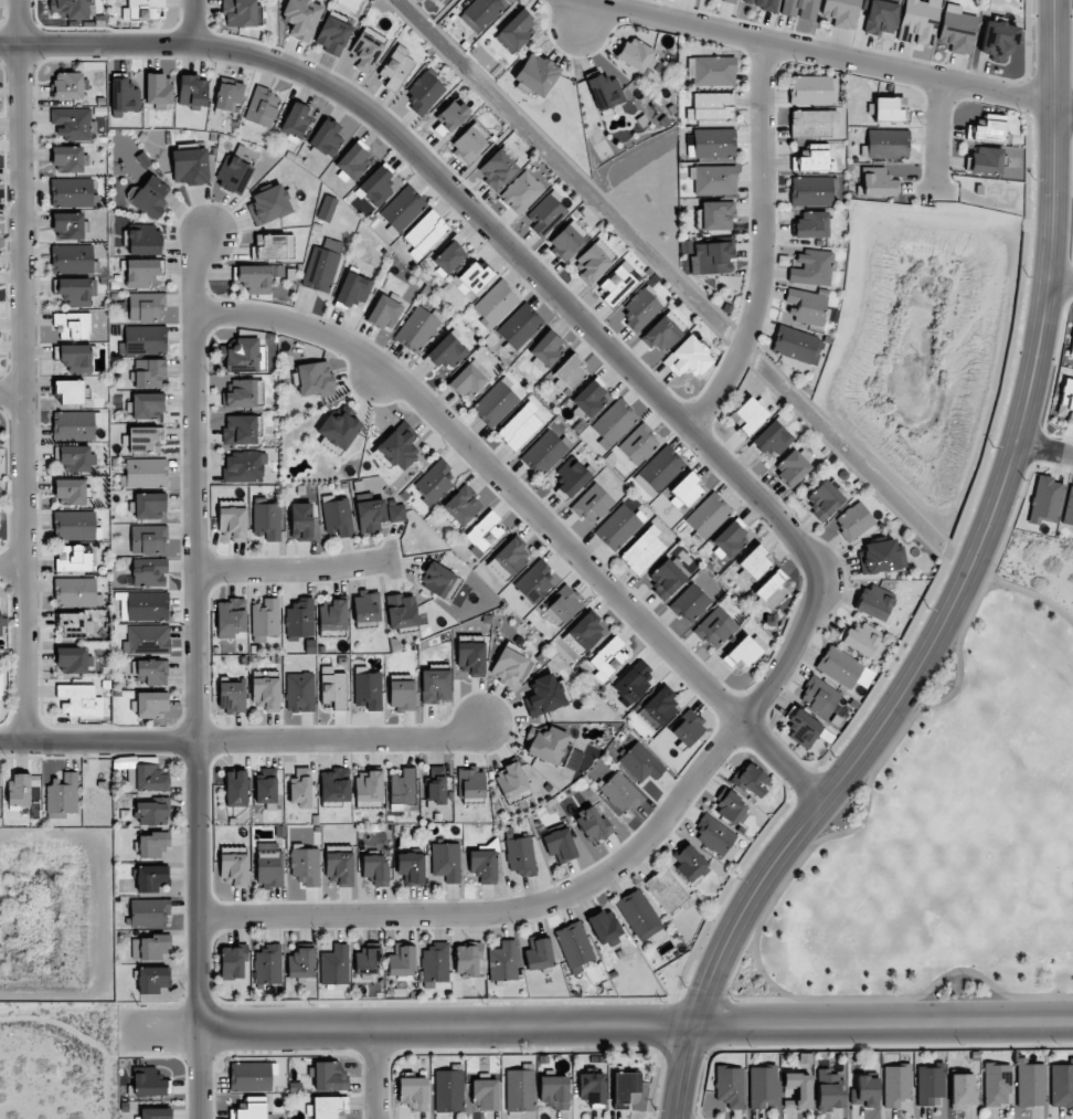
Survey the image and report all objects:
building: (439, 0)
building: (732, 0)
building: (72, 9)
building: (141, 9)
building: (800, 9)
building: (841, 12)
building: (238, 13)
building: (481, 13)
building: (301, 18)
building: (880, 18)
road: (192, 22)
building: (918, 22)
building: (957, 29)
building: (514, 31)
building: (332, 35)
building: (998, 41)
building: (366, 49)
road: (822, 53)
building: (636, 55)
building: (396, 67)
building: (712, 71)
building: (535, 74)
building: (68, 85)
building: (812, 89)
building: (158, 91)
building: (604, 91)
building: (192, 92)
building: (424, 93)
building: (227, 95)
building: (124, 96)
building: (262, 107)
building: (711, 107)
building: (888, 110)
building: (449, 116)
building: (295, 120)
building: (811, 123)
building: (71, 124)
building: (987, 129)
building: (326, 138)
road: (934, 138)
building: (713, 142)
building: (886, 142)
building: (469, 144)
building: (68, 158)
building: (812, 159)
building: (986, 160)
building: (352, 162)
building: (189, 167)
building: (497, 169)
building: (234, 176)
building: (878, 182)
building: (376, 184)
building: (811, 190)
building: (71, 192)
building: (521, 192)
building: (150, 198)
building: (268, 204)
building: (327, 208)
building: (403, 209)
building: (545, 214)
building: (718, 215)
building: (68, 225)
building: (811, 225)
building: (425, 233)
building: (144, 240)
building: (567, 240)
road: (761, 242)
building: (272, 247)
building: (711, 257)
building: (71, 258)
building: (593, 261)
building: (322, 266)
building: (811, 268)
building: (142, 272)
building: (258, 277)
building: (472, 278)
building: (617, 284)
road: (1062, 284)
building: (352, 289)
building: (75, 291)
building: (495, 304)
building: (146, 306)
building: (807, 306)
building: (640, 309)
building: (787, 312)
building: (384, 313)
building: (72, 326)
building: (417, 328)
building: (663, 332)
building: (145, 339)
building: (796, 345)
building: (548, 349)
building: (1071, 349)
building: (446, 352)
building: (243, 356)
building: (687, 357)
building: (75, 358)
road: (19, 370)
building: (148, 372)
building: (567, 372)
building: (315, 378)
building: (469, 380)
building: (70, 391)
road: (10, 392)
building: (242, 393)
building: (587, 400)
building: (1066, 400)
building: (495, 403)
building: (146, 405)
building: (750, 416)
building: (613, 422)
building: (74, 424)
building: (519, 426)
building: (240, 430)
building: (338, 430)
building: (144, 437)
building: (772, 440)
building: (638, 444)
building: (397, 446)
road: (1045, 447)
building: (543, 453)
building: (75, 458)
building: (244, 467)
building: (792, 467)
building: (658, 471)
building: (145, 473)
building: (570, 479)
building: (434, 483)
road: (740, 483)
building: (684, 490)
building: (70, 492)
building: (822, 499)
building: (1044, 500)
building: (593, 504)
building: (461, 505)
building: (149, 506)
building: (1069, 508)
road: (531, 511)
building: (395, 513)
building: (371, 516)
building: (707, 516)
building: (337, 518)
building: (266, 519)
building: (300, 521)
building: (853, 521)
building: (232, 524)
building: (73, 525)
building: (484, 532)
building: (148, 539)
building: (729, 541)
building: (642, 550)
building: (510, 557)
building: (878, 557)
building: (73, 559)
road: (10, 563)
building: (752, 563)
road: (291, 570)
building: (148, 572)
building: (665, 578)
building: (437, 579)
building: (534, 582)
building: (771, 590)
building: (74, 591)
road: (959, 592)
road: (1032, 595)
building: (875, 602)
building: (689, 603)
building: (144, 605)
building: (366, 606)
building: (562, 606)
building: (401, 611)
building: (332, 615)
building: (230, 617)
building: (265, 617)
building: (299, 619)
building: (0, 624)
building: (72, 625)
building: (713, 629)
building: (585, 631)
building: (146, 640)
building: (863, 640)
building: (744, 651)
building: (72, 659)
building: (469, 659)
building: (607, 659)
building: (508, 665)
building: (843, 668)
building: (151, 671)
road: (195, 673)
building: (633, 682)
building: (435, 686)
building: (0, 687)
building: (332, 687)
building: (368, 688)
building: (299, 692)
building: (402, 692)
building: (265, 693)
building: (231, 696)
building: (543, 696)
building: (819, 696)
building: (79, 700)
building: (150, 704)
building: (659, 706)
building: (803, 728)
building: (687, 729)
road: (245, 741)
building: (546, 745)
building: (640, 763)
building: (150, 778)
building: (510, 780)
building: (751, 780)
building: (470, 782)
building: (266, 785)
building: (334, 785)
building: (369, 787)
building: (435, 787)
building: (235, 788)
building: (300, 788)
building: (402, 789)
building: (18, 790)
building: (620, 793)
building: (730, 809)
building: (152, 812)
building: (592, 825)
park: (935, 834)
building: (714, 835)
building: (152, 845)
building: (559, 845)
building: (520, 855)
building: (446, 862)
building: (689, 864)
building: (305, 865)
building: (482, 866)
building: (411, 867)
building: (233, 868)
building: (267, 868)
building: (339, 868)
building: (375, 868)
road: (790, 874)
building: (150, 877)
building: (667, 890)
building: (149, 912)
building: (638, 915)
building: (605, 928)
building: (151, 946)
building: (574, 946)
building: (538, 953)
building: (469, 960)
building: (366, 961)
building: (401, 961)
building: (502, 961)
building: (232, 962)
building: (435, 962)
building: (267, 963)
building: (300, 963)
building: (334, 965)
building: (151, 979)
road: (716, 1000)
road: (764, 1000)
road: (596, 1025)
road: (378, 1074)
building: (249, 1076)
building: (329, 1076)
building: (149, 1083)
building: (929, 1084)
building: (996, 1084)
building: (1030, 1084)
building: (1061, 1084)
building: (729, 1086)
building: (761, 1086)
building: (896, 1086)
building: (591, 1087)
building: (624, 1088)
building: (828, 1088)
building: (519, 1089)
building: (448, 1090)
building: (554, 1090)
building: (864, 1090)
building: (962, 1091)
building: (413, 1092)
building: (486, 1094)
building: (329, 1107)
building: (251, 1109)
building: (156, 1113)

